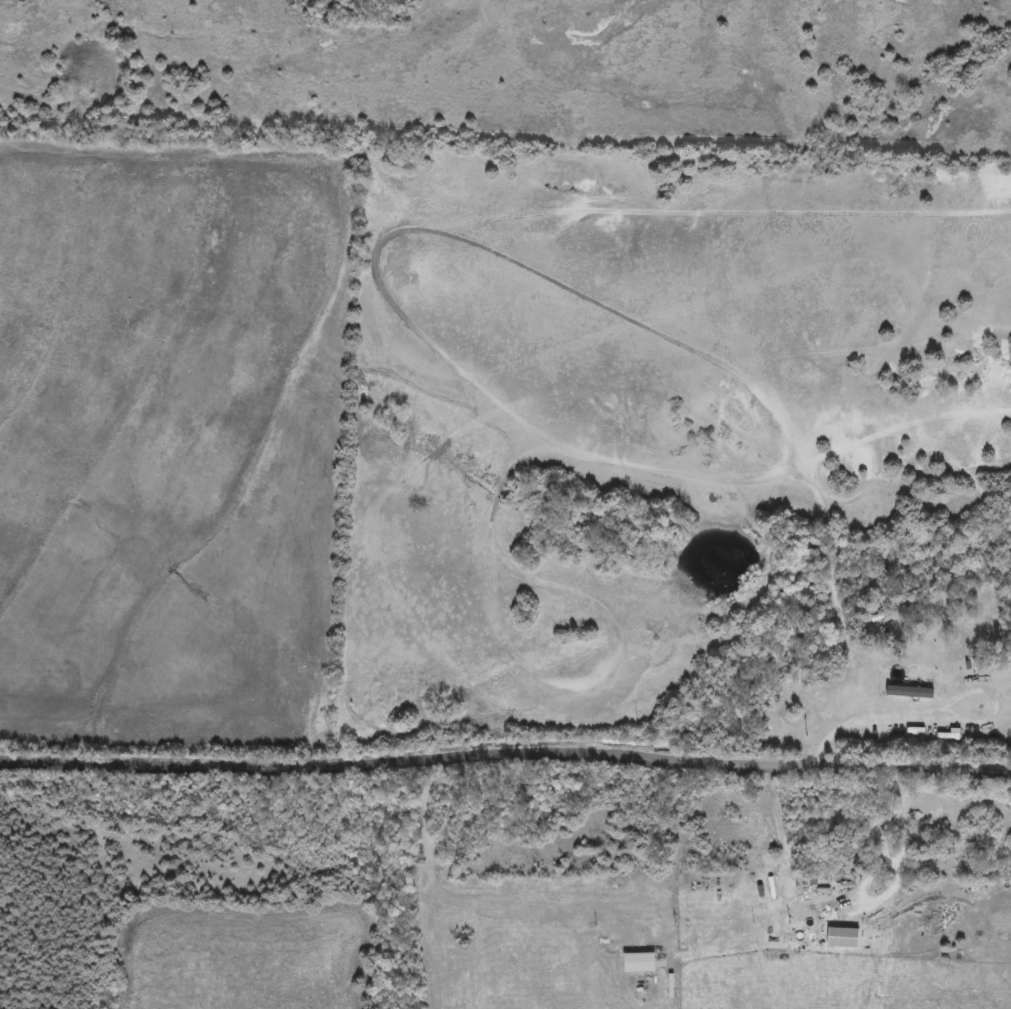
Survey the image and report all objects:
road: (933, 706)
road: (505, 752)
road: (892, 882)
building: (849, 911)

